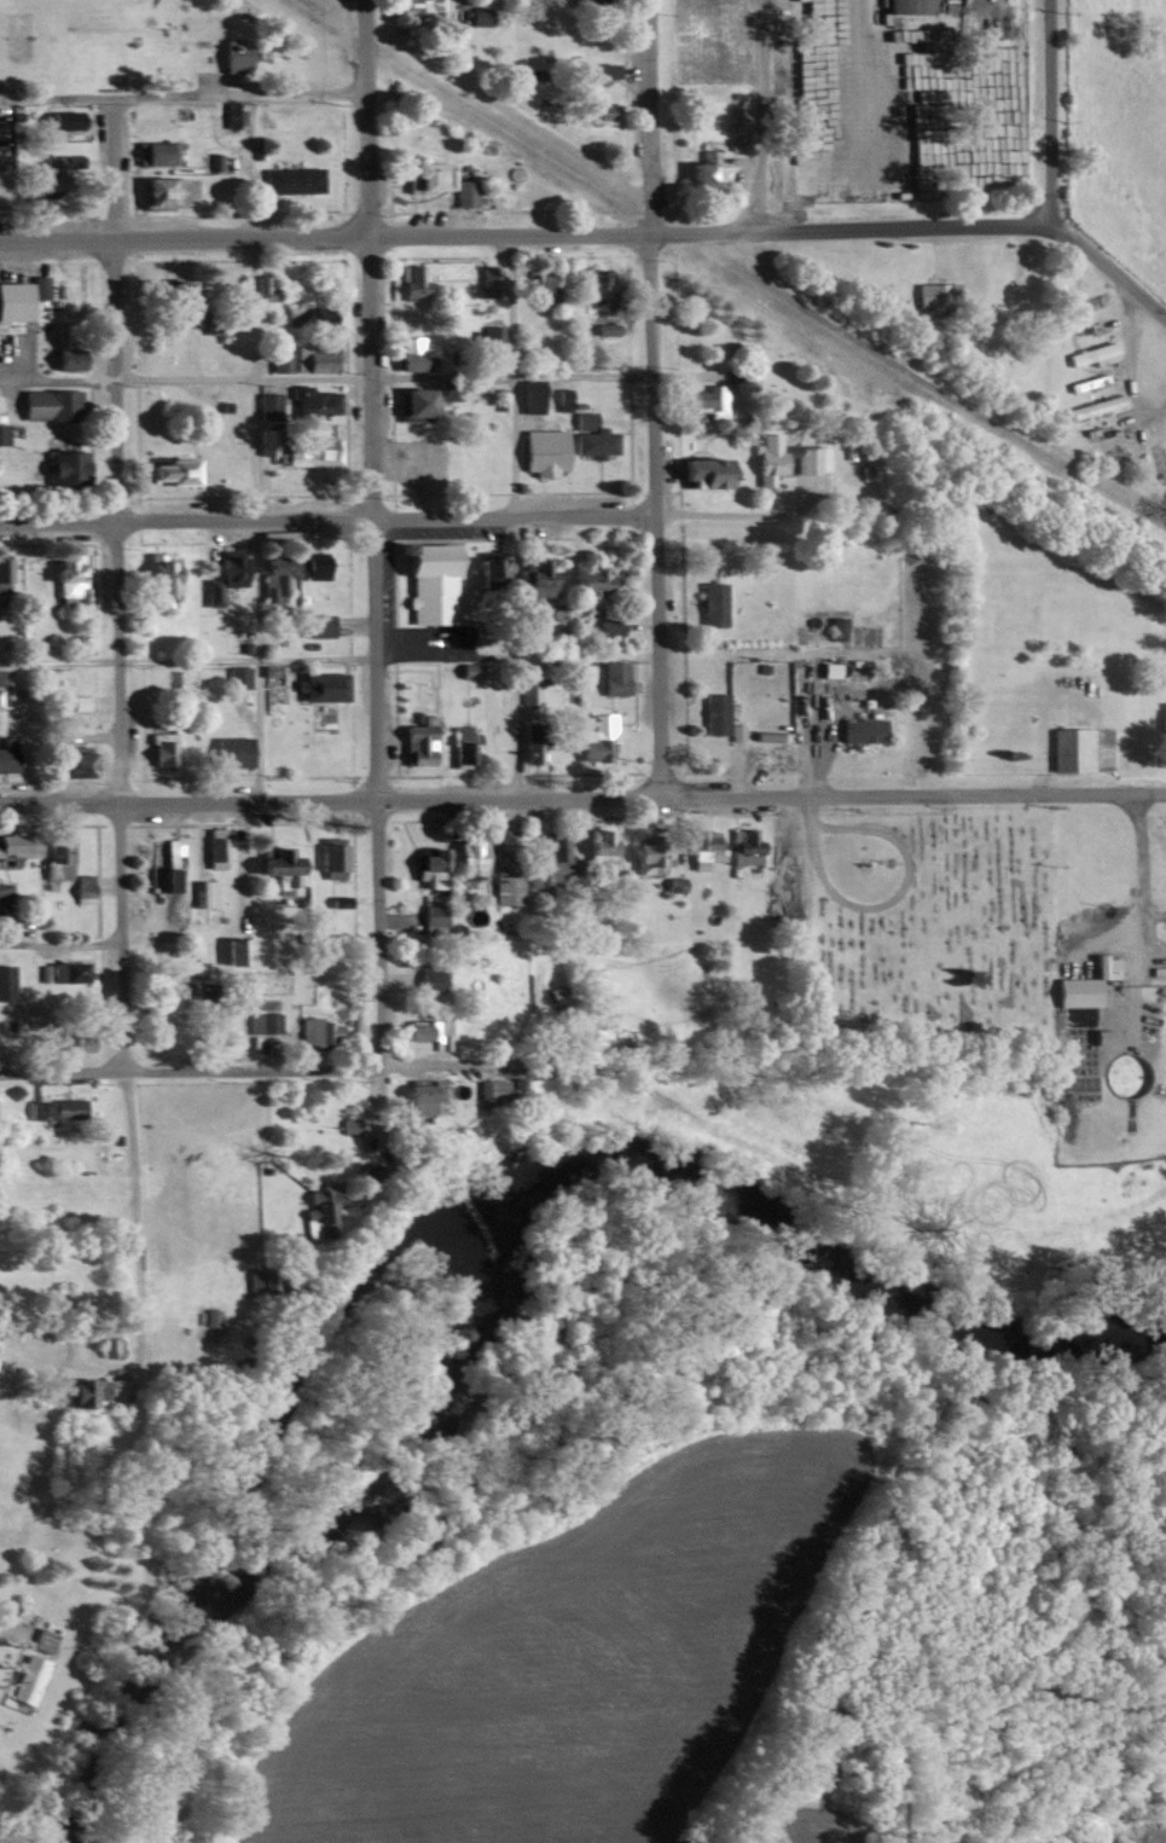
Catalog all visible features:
building: (585, 1)
building: (417, 5)
building: (900, 5)
building: (477, 15)
building: (230, 56)
building: (597, 70)
road: (180, 94)
building: (591, 111)
road: (1045, 111)
building: (233, 114)
road: (758, 116)
road: (645, 117)
building: (58, 120)
road: (362, 120)
building: (56, 158)
road: (108, 168)
building: (698, 168)
building: (288, 180)
building: (435, 180)
building: (157, 190)
road: (562, 236)
building: (488, 278)
building: (407, 279)
building: (539, 283)
building: (36, 286)
building: (261, 288)
building: (590, 288)
building: (173, 291)
building: (932, 292)
road: (1136, 299)
building: (13, 300)
building: (605, 328)
building: (492, 337)
building: (410, 354)
building: (1090, 354)
building: (64, 357)
building: (312, 358)
building: (277, 360)
road: (1118, 370)
road: (324, 377)
building: (526, 395)
building: (701, 400)
building: (308, 402)
building: (414, 402)
building: (46, 404)
building: (1094, 406)
building: (581, 419)
building: (1, 433)
building: (591, 442)
building: (307, 451)
building: (539, 451)
building: (785, 457)
building: (63, 464)
building: (166, 471)
building: (700, 471)
road: (652, 516)
road: (407, 518)
road: (516, 518)
road: (251, 522)
building: (2, 567)
building: (309, 567)
building: (271, 572)
building: (487, 572)
building: (220, 574)
building: (532, 578)
building: (66, 579)
building: (424, 580)
building: (581, 585)
building: (708, 603)
building: (315, 625)
building: (607, 625)
building: (833, 627)
road: (112, 657)
road: (327, 659)
building: (824, 670)
building: (610, 677)
building: (318, 686)
building: (77, 702)
road: (370, 711)
building: (710, 713)
building: (857, 729)
building: (733, 731)
building: (594, 738)
building: (417, 742)
building: (463, 746)
building: (161, 747)
building: (1077, 748)
building: (227, 750)
building: (532, 750)
building: (6, 755)
building: (69, 763)
road: (582, 800)
building: (14, 845)
building: (597, 845)
building: (741, 846)
building: (214, 847)
building: (702, 848)
building: (169, 853)
building: (553, 853)
building: (57, 856)
building: (644, 858)
building: (448, 860)
building: (327, 862)
building: (164, 880)
building: (504, 887)
building: (81, 888)
road: (1139, 891)
building: (202, 893)
road: (59, 944)
building: (234, 951)
building: (62, 978)
building: (4, 979)
building: (424, 979)
building: (1080, 984)
building: (260, 1022)
building: (424, 1032)
building: (1095, 1036)
building: (69, 1042)
road: (443, 1062)
road: (186, 1074)
building: (422, 1094)
building: (50, 1108)
road: (130, 1227)
building: (108, 1345)
building: (92, 1390)
road: (5, 1630)
building: (40, 1640)
building: (22, 1680)

